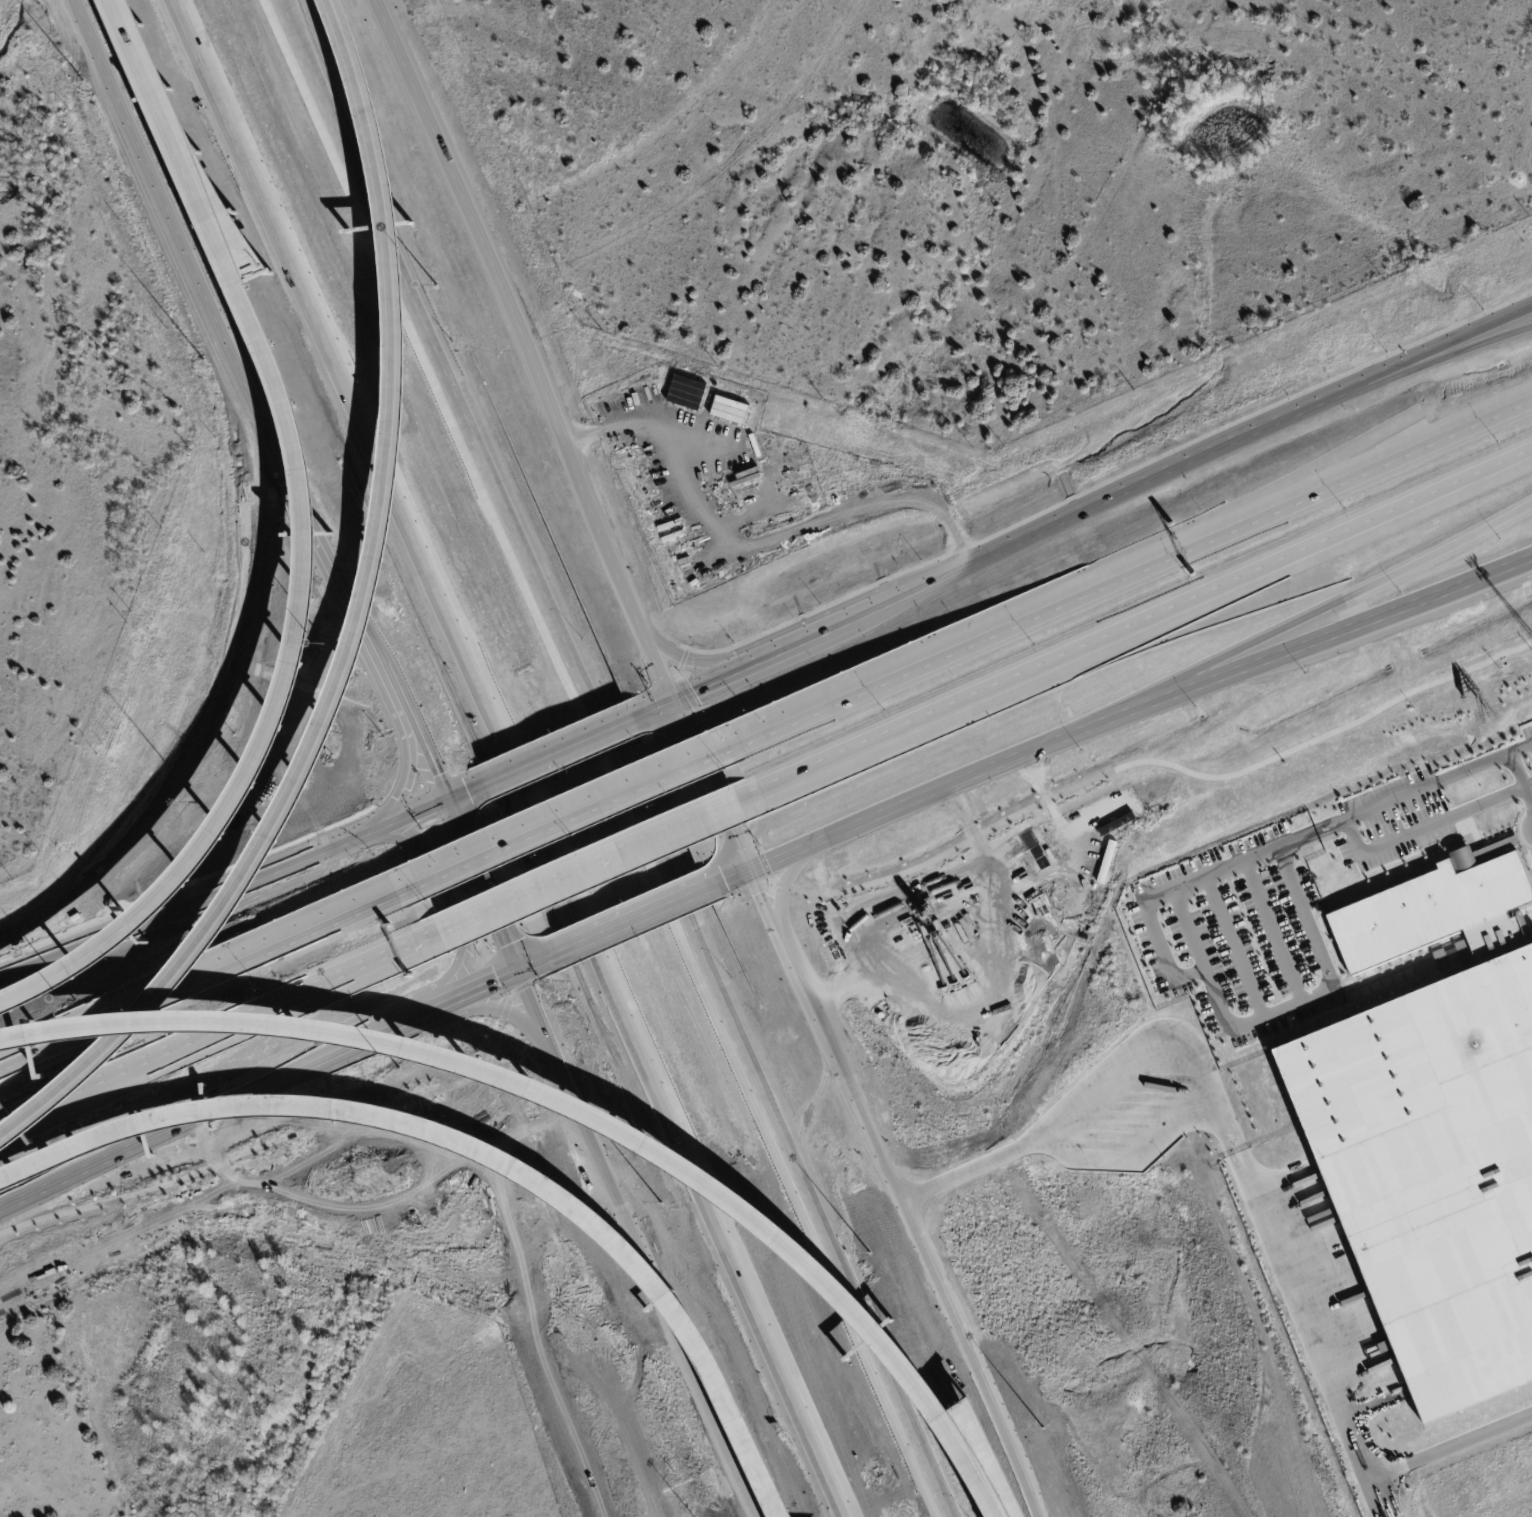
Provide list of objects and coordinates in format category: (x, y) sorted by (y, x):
road: (284, 8)
road: (286, 8)
road: (526, 348)
road: (1434, 348)
road: (1434, 361)
road: (261, 423)
road: (1126, 491)
road: (1296, 499)
road: (764, 522)
road: (305, 542)
road: (1206, 595)
road: (882, 600)
road: (1411, 602)
road: (1314, 613)
road: (353, 620)
road: (797, 638)
road: (691, 661)
road: (896, 672)
road: (707, 680)
road: (1193, 684)
traffic signals: (670, 698)
road: (652, 707)
road: (603, 731)
parking lot: (1527, 737)
road: (501, 762)
road: (1127, 762)
road: (527, 763)
road: (698, 764)
road: (616, 766)
road: (819, 767)
road: (1519, 781)
road: (463, 790)
road: (402, 792)
road: (1403, 795)
road: (921, 797)
traffic signals: (443, 798)
road: (574, 812)
parking lot: (1391, 819)
road: (1428, 824)
road: (1525, 827)
building: (1505, 843)
road: (736, 851)
road: (597, 865)
traffic signals: (746, 872)
road: (728, 880)
road: (782, 887)
road: (222, 889)
road: (442, 898)
road: (490, 905)
road: (654, 911)
road: (1186, 929)
road: (1270, 931)
road: (642, 932)
road: (297, 934)
parking lot: (1237, 936)
road: (576, 944)
road: (1232, 946)
road: (536, 962)
traffic signals: (519, 970)
road: (480, 986)
road: (1213, 995)
road: (498, 1009)
road: (89, 1013)
road: (233, 1024)
road: (89, 1026)
road: (386, 1028)
road: (578, 1111)
road: (14, 1120)
road: (165, 1130)
building: (1433, 1131)
road: (305, 1132)
road: (472, 1149)
road: (1246, 1183)
road: (893, 1193)
road: (635, 1244)
building: (1384, 1346)

